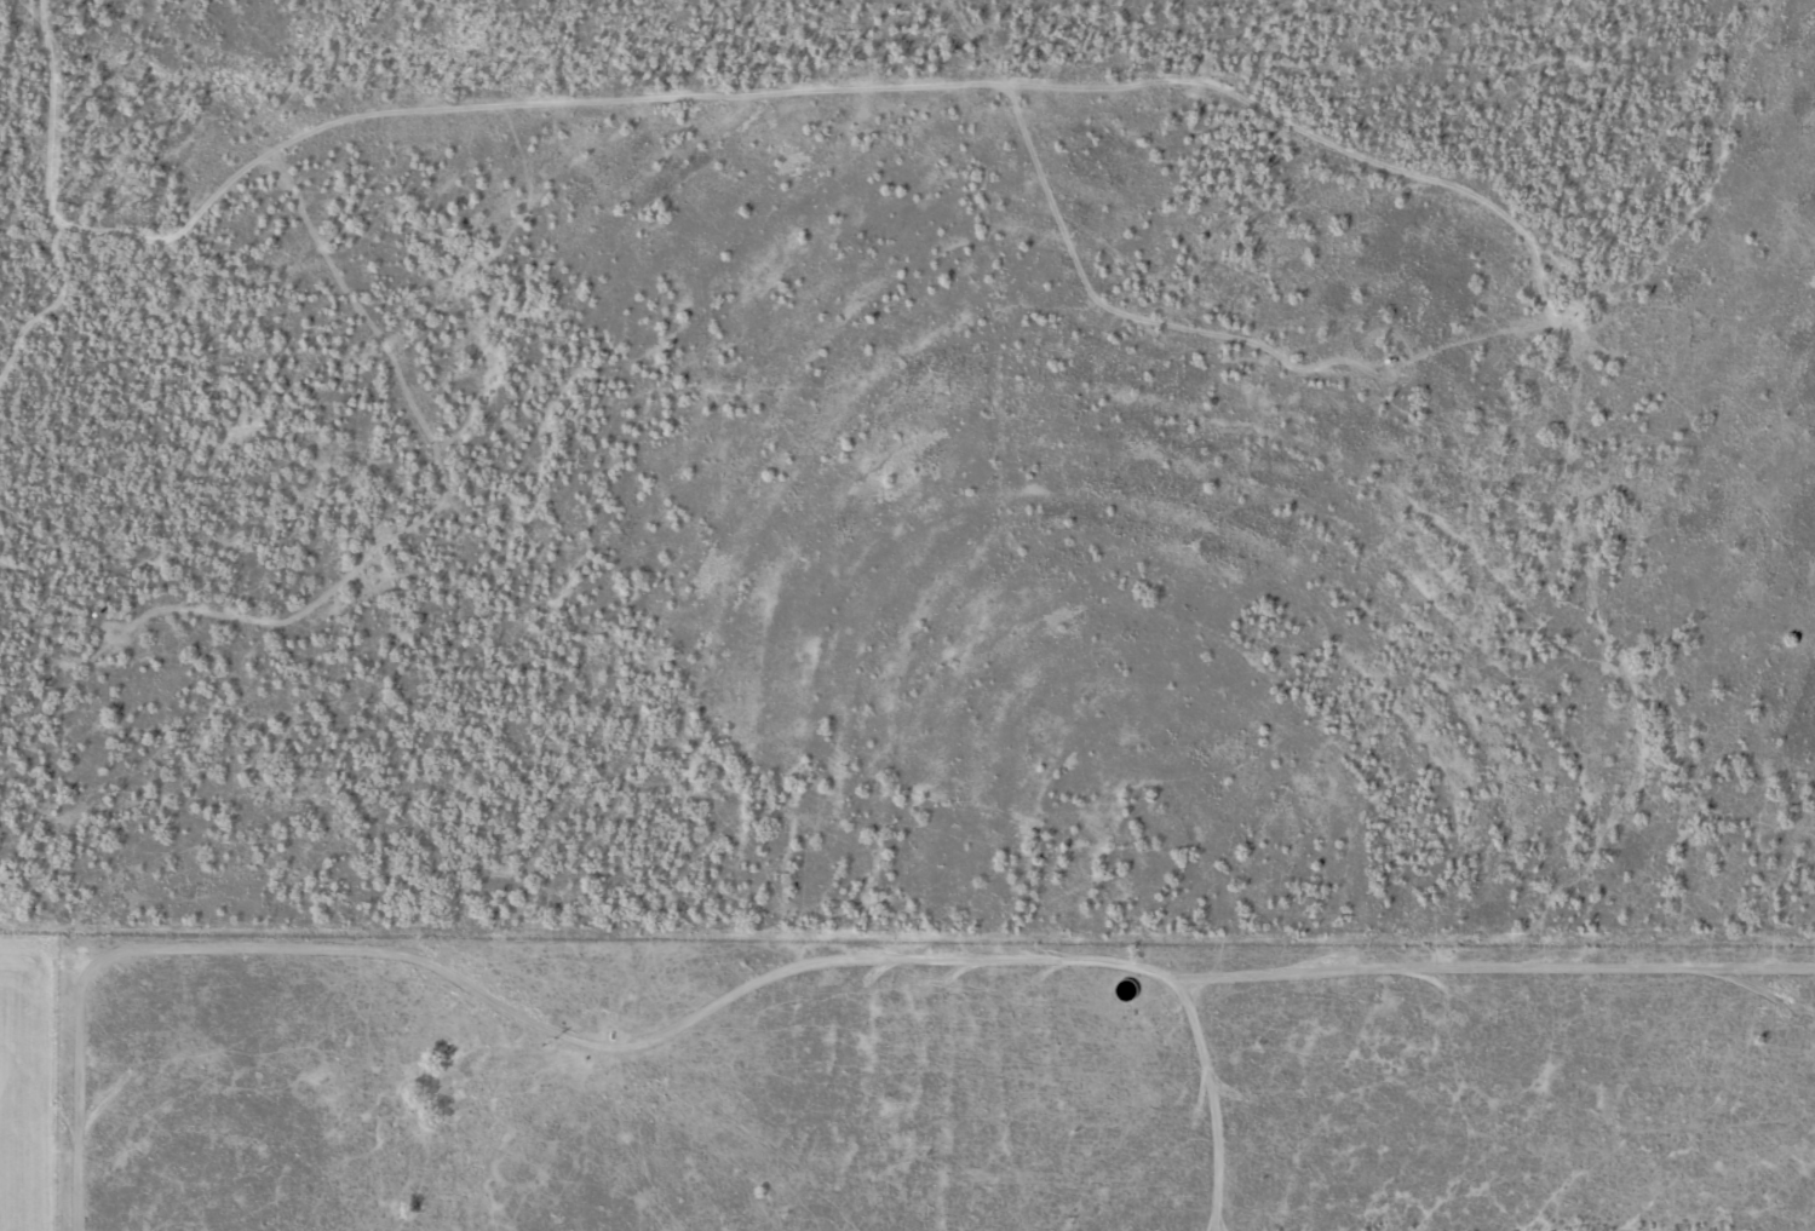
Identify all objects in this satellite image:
road: (753, 103)

